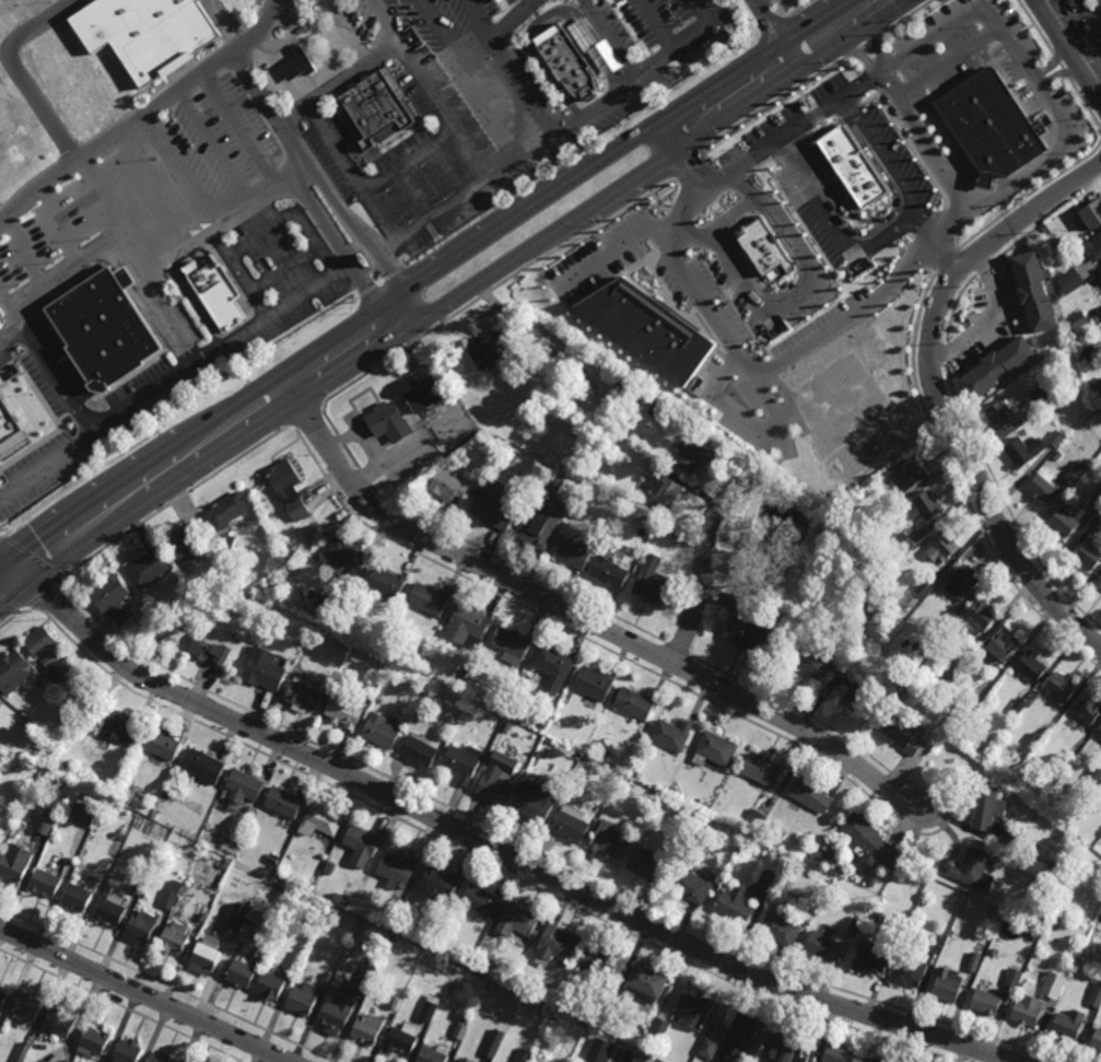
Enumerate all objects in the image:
road: (1088, 1)
road: (771, 2)
road: (534, 3)
road: (748, 4)
road: (1096, 11)
road: (705, 13)
road: (788, 13)
road: (550, 14)
road: (909, 16)
road: (722, 20)
road: (770, 22)
road: (658, 25)
road: (994, 25)
road: (1034, 26)
road: (301, 27)
road: (1024, 31)
road: (347, 32)
road: (1080, 32)
building: (150, 33)
road: (262, 33)
building: (584, 35)
road: (611, 40)
road: (1008, 40)
road: (490, 46)
road: (864, 46)
road: (878, 46)
road: (1066, 51)
road: (203, 57)
road: (860, 58)
road: (1053, 61)
road: (947, 63)
building: (297, 65)
building: (283, 67)
road: (509, 67)
road: (1061, 68)
building: (571, 69)
road: (284, 71)
road: (16, 73)
road: (1059, 75)
road: (472, 77)
road: (187, 78)
road: (633, 81)
road: (1005, 81)
road: (962, 82)
road: (342, 84)
road: (433, 87)
road: (257, 91)
road: (780, 101)
road: (870, 105)
road: (1086, 105)
road: (793, 108)
building: (377, 110)
road: (914, 114)
road: (850, 119)
building: (989, 126)
road: (806, 129)
road: (239, 131)
road: (116, 137)
road: (815, 142)
road: (816, 142)
road: (927, 142)
road: (626, 143)
road: (215, 148)
road: (953, 148)
road: (760, 152)
road: (914, 152)
road: (409, 156)
road: (691, 157)
road: (448, 168)
road: (183, 171)
road: (775, 171)
road: (351, 175)
building: (843, 176)
road: (1022, 176)
road: (751, 187)
road: (150, 192)
road: (412, 192)
road: (1030, 194)
road: (465, 195)
road: (737, 198)
road: (343, 209)
road: (714, 212)
building: (1089, 214)
road: (957, 218)
road: (229, 219)
road: (722, 220)
road: (731, 225)
road: (57, 231)
road: (274, 231)
road: (332, 236)
road: (937, 236)
road: (956, 237)
building: (1052, 240)
road: (319, 248)
building: (748, 248)
building: (1096, 248)
road: (613, 249)
road: (24, 254)
road: (141, 265)
road: (288, 267)
road: (247, 272)
building: (1100, 277)
building: (1069, 281)
road: (495, 285)
building: (1034, 292)
building: (213, 294)
road: (798, 295)
road: (453, 301)
road: (4, 311)
road: (406, 311)
road: (987, 319)
road: (11, 320)
building: (1078, 320)
building: (648, 329)
building: (102, 331)
road: (9, 336)
building: (492, 348)
building: (1092, 353)
building: (997, 367)
road: (746, 370)
road: (175, 384)
building: (1097, 387)
road: (939, 389)
building: (623, 392)
road: (788, 395)
building: (1043, 395)
building: (424, 396)
building: (14, 404)
building: (658, 410)
building: (1004, 410)
building: (389, 422)
road: (754, 425)
road: (200, 429)
building: (1056, 439)
building: (1023, 451)
building: (691, 455)
building: (1057, 455)
building: (511, 458)
road: (390, 460)
building: (654, 465)
building: (1077, 472)
building: (911, 474)
building: (572, 481)
building: (450, 485)
building: (289, 489)
building: (588, 489)
building: (1044, 490)
building: (663, 492)
building: (1098, 493)
building: (494, 505)
building: (927, 505)
building: (853, 509)
building: (227, 510)
building: (636, 514)
building: (543, 515)
building: (1066, 521)
building: (1097, 522)
building: (672, 530)
building: (227, 539)
building: (185, 541)
building: (901, 546)
building: (941, 547)
building: (575, 550)
building: (1090, 553)
building: (347, 555)
road: (703, 562)
building: (149, 568)
building: (610, 573)
building: (653, 581)
building: (1100, 581)
building: (963, 582)
building: (386, 583)
traffic signals: (28, 584)
building: (923, 590)
building: (312, 594)
building: (113, 598)
building: (429, 600)
building: (239, 603)
building: (330, 608)
road: (579, 616)
building: (979, 618)
building: (948, 620)
building: (468, 626)
building: (747, 628)
building: (512, 643)
building: (1003, 645)
building: (212, 647)
building: (48, 652)
building: (359, 652)
building: (414, 655)
building: (815, 664)
building: (553, 667)
building: (1031, 667)
building: (263, 669)
building: (14, 672)
building: (462, 675)
building: (947, 676)
building: (595, 684)
building: (1061, 689)
building: (303, 697)
building: (379, 699)
building: (635, 703)
building: (865, 703)
building: (0, 704)
building: (500, 704)
building: (1019, 707)
building: (509, 709)
building: (965, 709)
building: (1088, 709)
building: (345, 712)
building: (637, 722)
building: (956, 723)
building: (542, 724)
building: (120, 726)
building: (506, 728)
building: (382, 732)
building: (906, 733)
building: (1100, 734)
building: (672, 735)
building: (163, 742)
building: (421, 750)
building: (715, 752)
building: (606, 755)
building: (1067, 758)
building: (464, 762)
building: (506, 763)
building: (202, 766)
building: (763, 769)
building: (1057, 771)
building: (1094, 772)
building: (637, 774)
building: (613, 777)
building: (633, 783)
building: (242, 786)
building: (495, 789)
building: (811, 794)
building: (55, 801)
building: (284, 801)
building: (536, 801)
building: (986, 805)
building: (82, 815)
building: (319, 819)
building: (756, 820)
building: (46, 821)
building: (572, 822)
building: (781, 833)
building: (610, 838)
building: (739, 838)
building: (1006, 839)
building: (869, 840)
building: (362, 843)
building: (227, 848)
road: (494, 848)
building: (831, 853)
building: (276, 860)
building: (15, 862)
building: (225, 862)
building: (647, 862)
building: (186, 865)
building: (329, 867)
building: (398, 867)
building: (974, 868)
building: (82, 874)
building: (768, 880)
building: (872, 880)
building: (45, 883)
building: (441, 883)
building: (693, 883)
building: (137, 885)
building: (288, 892)
building: (77, 898)
building: (481, 898)
building: (167, 899)
building: (817, 900)
building: (734, 907)
building: (110, 910)
building: (881, 917)
building: (517, 919)
building: (1053, 922)
building: (432, 923)
building: (142, 925)
building: (386, 925)
building: (854, 925)
building: (780, 927)
building: (239, 930)
building: (431, 935)
building: (174, 938)
building: (558, 943)
building: (937, 943)
building: (823, 945)
building: (206, 955)
building: (482, 957)
building: (318, 958)
building: (599, 959)
building: (869, 959)
building: (974, 961)
building: (912, 969)
building: (489, 970)
building: (241, 972)
building: (447, 972)
building: (1014, 977)
building: (647, 980)
building: (327, 981)
building: (0, 984)
building: (1053, 984)
building: (270, 985)
building: (947, 985)
building: (529, 990)
building: (548, 991)
building: (3, 995)
road: (144, 995)
building: (1096, 997)
building: (303, 999)
building: (397, 999)
building: (987, 1001)
building: (614, 1003)
building: (560, 1004)
building: (342, 1006)
building: (694, 1006)
building: (1028, 1006)
building: (430, 1007)
building: (25, 1010)
building: (59, 1022)
building: (1068, 1024)
building: (745, 1027)
building: (461, 1028)
building: (658, 1029)
building: (367, 1030)
building: (402, 1037)
building: (1097, 1037)
building: (93, 1041)
building: (493, 1041)
building: (792, 1046)
building: (708, 1047)
building: (601, 1049)
building: (127, 1051)
building: (22, 1052)
building: (526, 1052)
building: (839, 1053)
building: (433, 1054)
building: (633, 1057)
building: (160, 1058)
building: (459, 1060)
building: (878, 1060)
building: (39, 1061)
building: (66, 1061)
building: (753, 1061)

